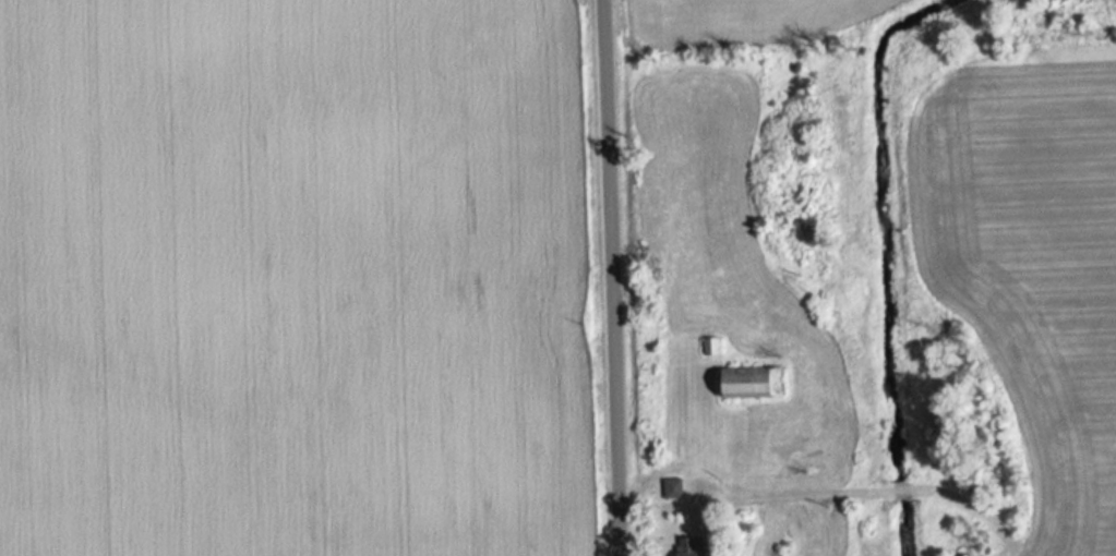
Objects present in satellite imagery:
road: (610, 278)
building: (712, 347)
building: (755, 383)
building: (783, 455)
building: (673, 489)
building: (693, 546)

